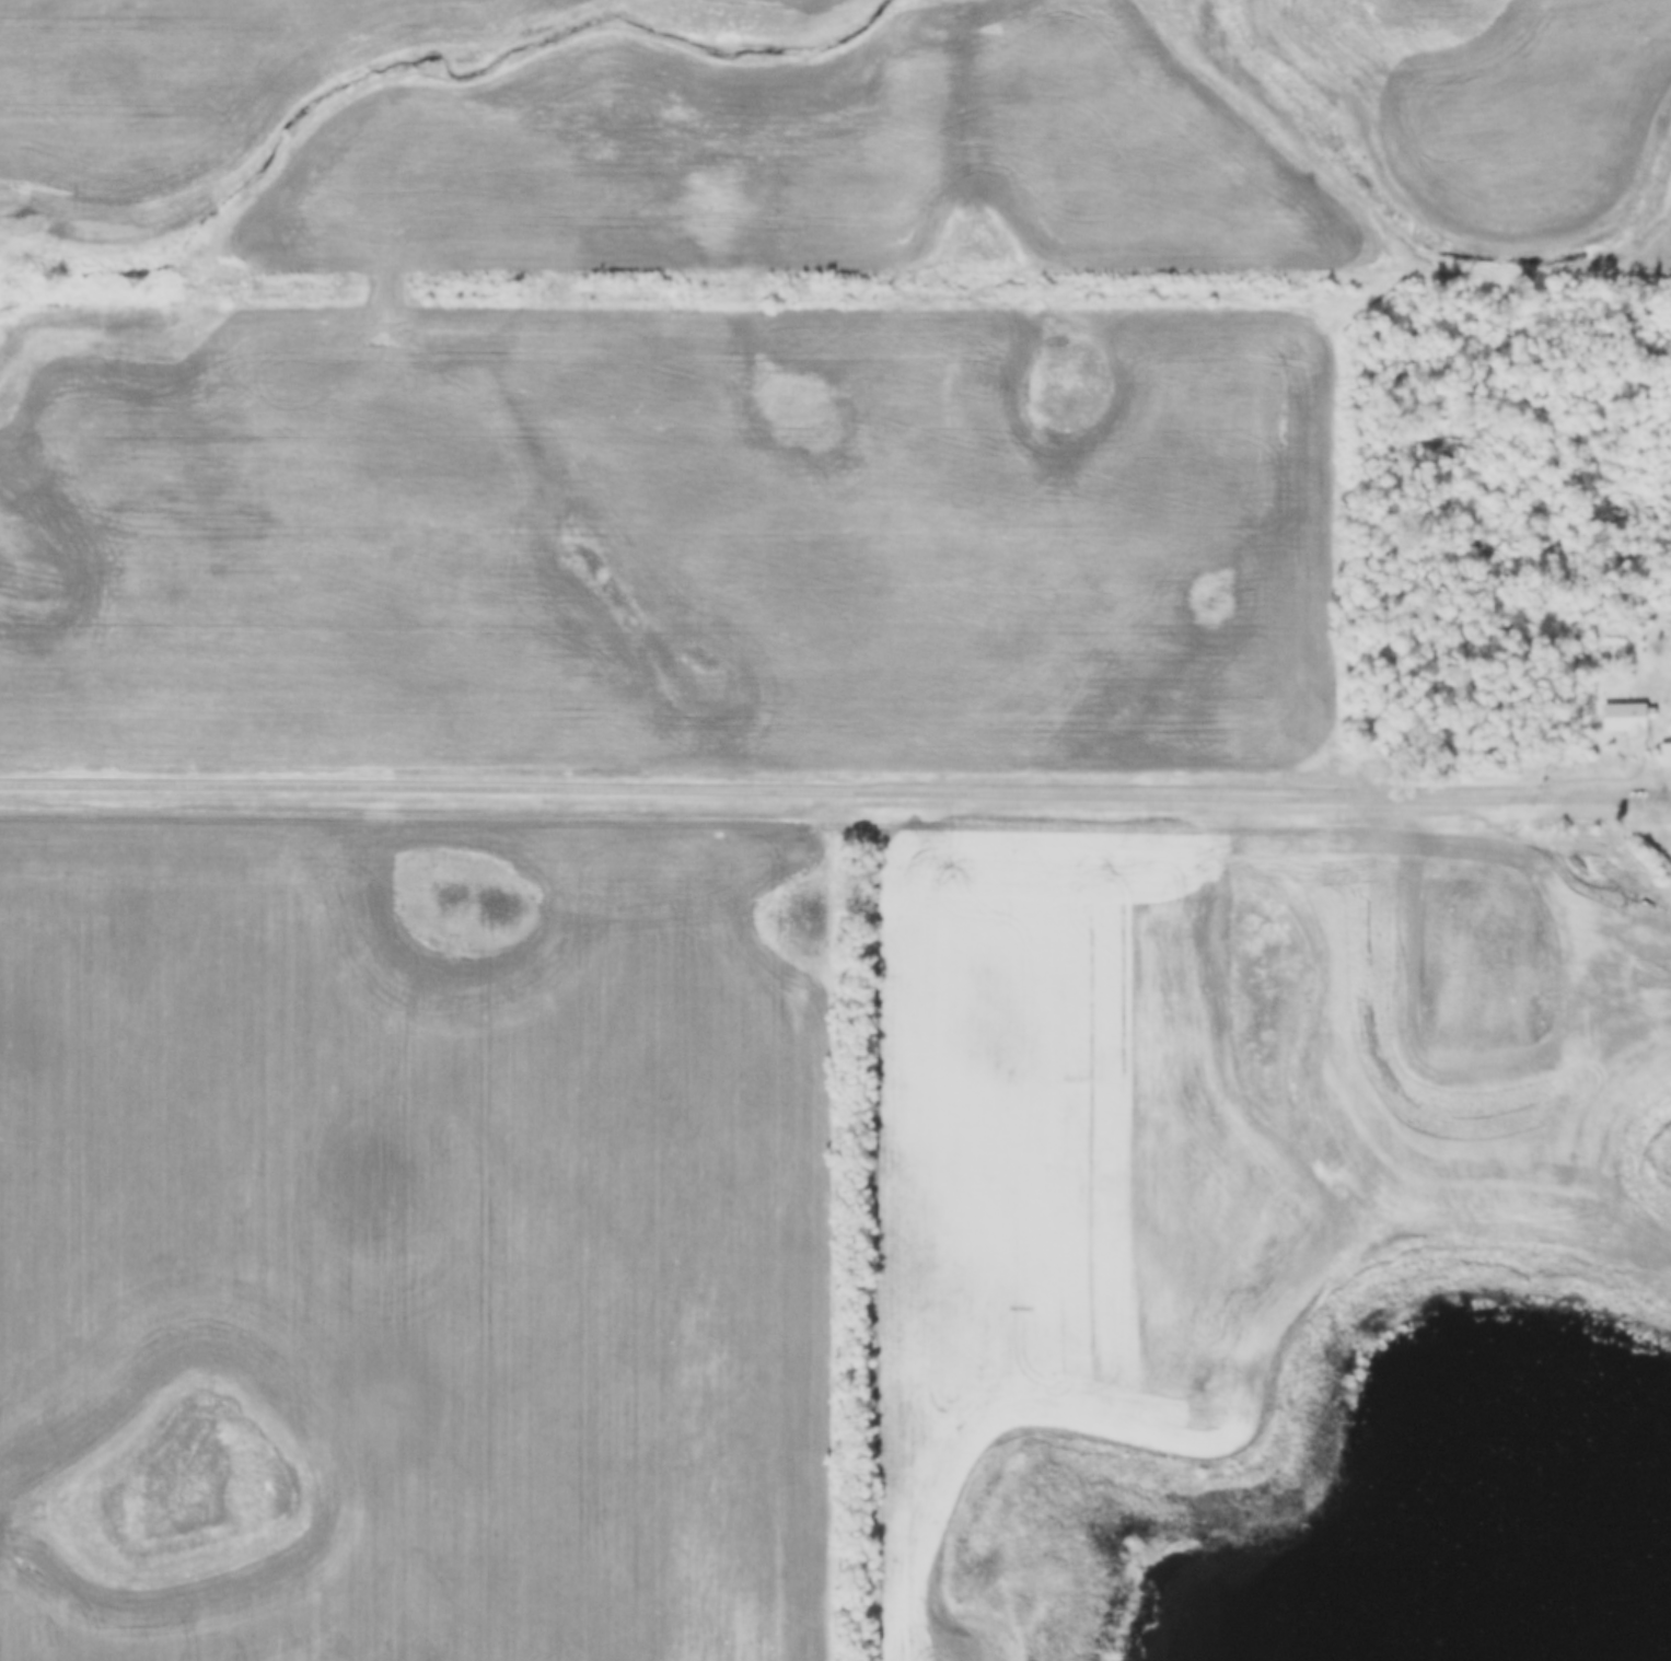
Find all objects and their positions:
building: (1626, 719)
building: (1664, 755)
road: (835, 797)

